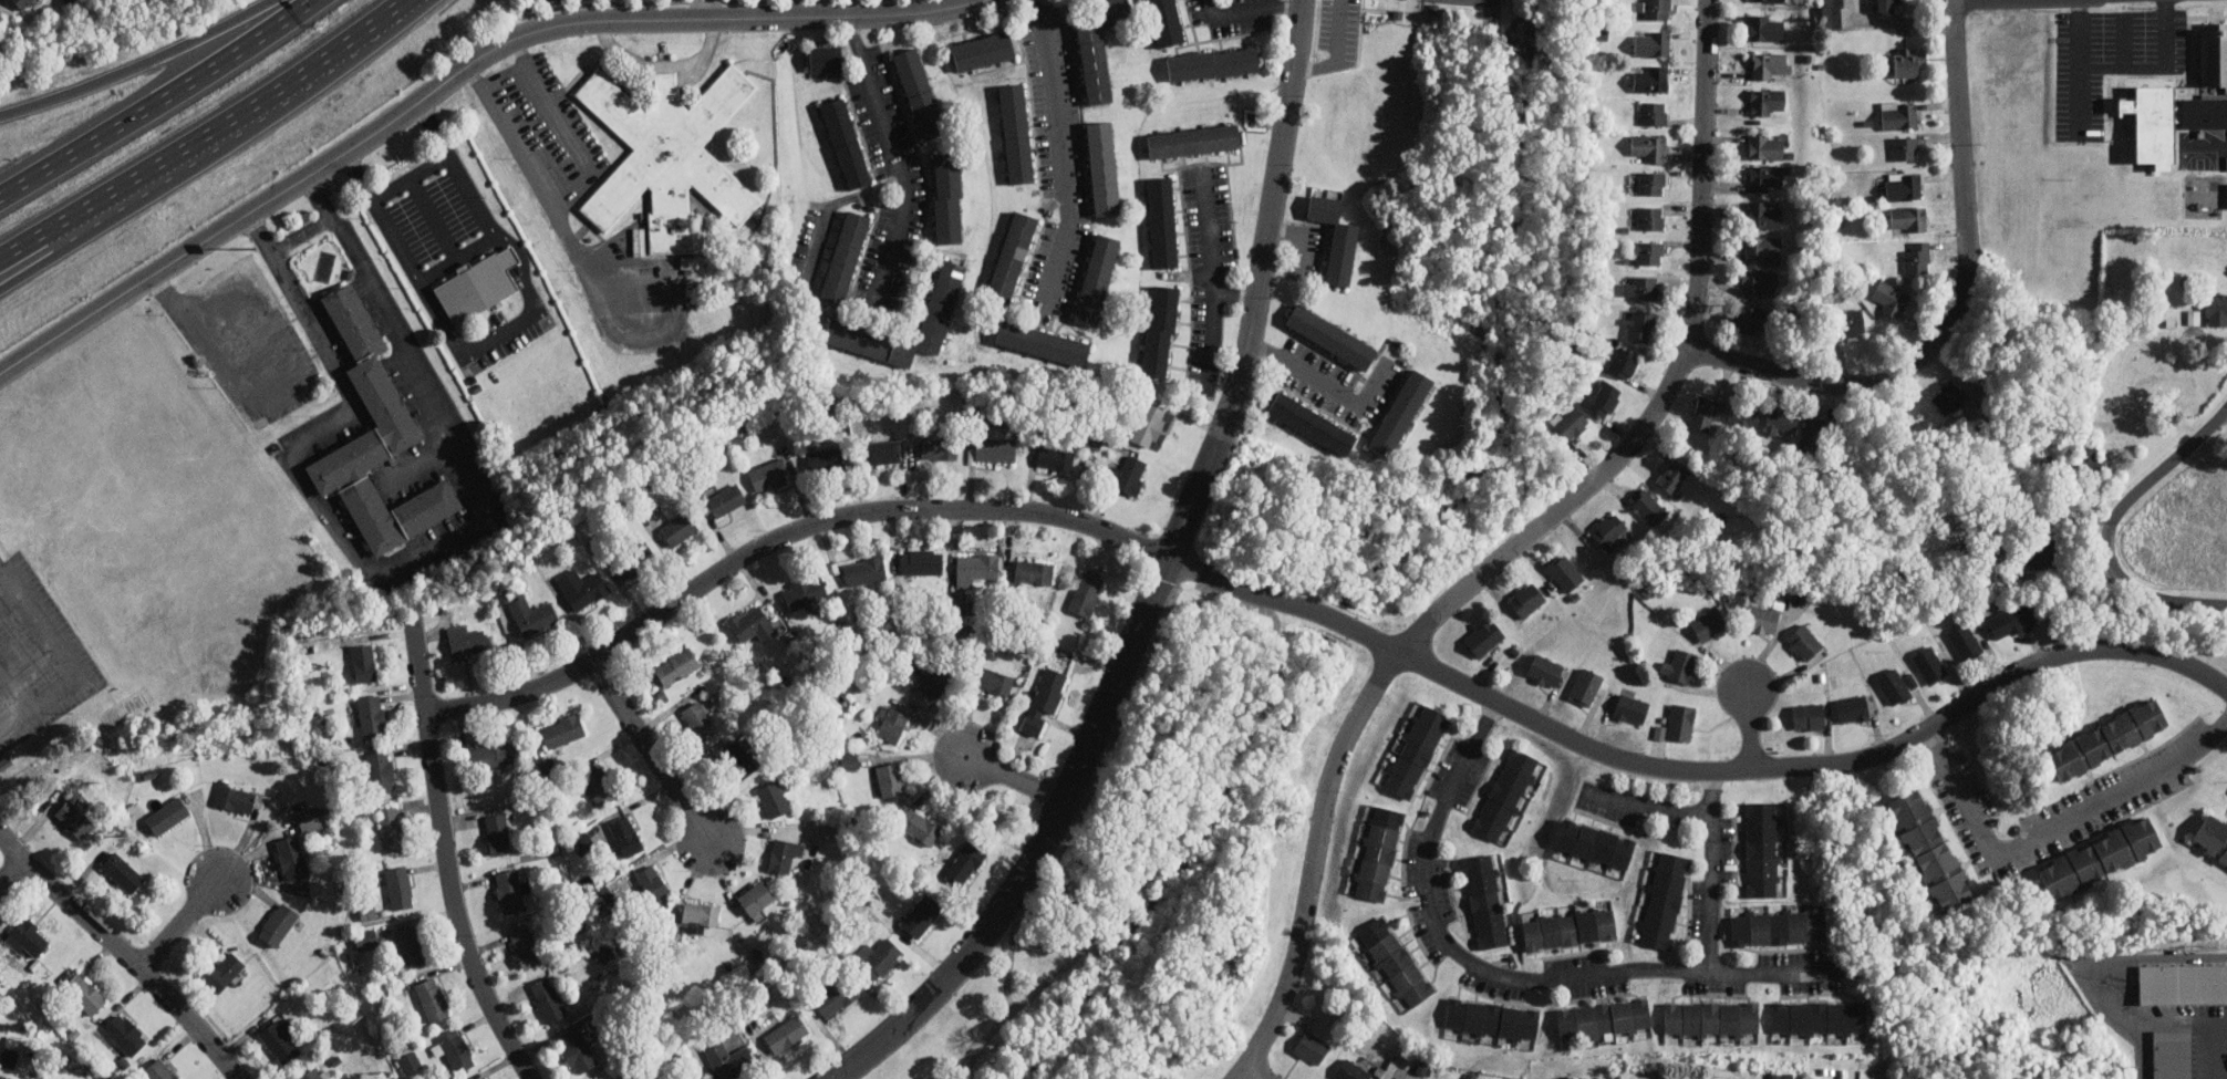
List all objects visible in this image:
building: (1768, 0)
road: (2001, 1)
building: (23, 3)
building: (1886, 6)
road: (703, 9)
road: (721, 9)
building: (1655, 9)
road: (1297, 13)
building: (1833, 13)
road: (1913, 21)
building: (1166, 22)
road: (1188, 22)
building: (1767, 27)
road: (1221, 37)
road: (1315, 37)
road: (1243, 40)
road: (2123, 40)
building: (1653, 42)
road: (1181, 43)
road: (1221, 43)
road: (1199, 44)
building: (1097, 46)
building: (983, 51)
building: (2214, 54)
building: (827, 58)
road: (660, 63)
building: (1213, 63)
building: (1904, 63)
building: (1772, 65)
road: (138, 68)
road: (2125, 68)
road: (454, 73)
road: (503, 75)
building: (1650, 77)
building: (920, 92)
road: (2081, 95)
road: (155, 98)
building: (1765, 101)
building: (1654, 112)
building: (1899, 114)
road: (227, 118)
building: (2167, 120)
building: (1016, 132)
building: (1193, 139)
building: (846, 142)
building: (1767, 145)
building: (1648, 147)
building: (1905, 147)
road: (2212, 147)
road: (1060, 149)
building: (667, 155)
road: (895, 163)
building: (1104, 167)
road: (408, 176)
building: (1765, 177)
building: (1653, 183)
building: (1904, 185)
building: (2226, 193)
building: (947, 197)
building: (1764, 215)
building: (1650, 218)
building: (1909, 218)
building: (1162, 221)
building: (1336, 238)
road: (1301, 239)
road: (23, 243)
building: (1762, 248)
building: (1647, 252)
road: (457, 257)
building: (845, 257)
building: (1012, 257)
building: (1917, 257)
road: (28, 263)
building: (1097, 279)
building: (1759, 282)
building: (479, 284)
road: (592, 286)
building: (1641, 288)
road: (1215, 291)
building: (1889, 299)
road: (1962, 308)
building: (2216, 309)
building: (2194, 315)
building: (1753, 320)
building: (1852, 321)
building: (845, 324)
building: (1639, 324)
building: (1160, 331)
building: (1332, 335)
building: (1042, 342)
building: (1622, 361)
road: (1339, 391)
building: (1948, 397)
building: (1604, 398)
building: (1401, 413)
building: (1705, 413)
building: (1743, 414)
building: (1570, 421)
building: (1780, 421)
building: (1144, 422)
building: (1312, 424)
building: (1812, 434)
building: (375, 437)
building: (939, 448)
building: (995, 449)
building: (881, 452)
building: (1056, 458)
building: (825, 459)
building: (2090, 459)
building: (769, 475)
building: (1128, 475)
building: (1672, 475)
building: (725, 499)
building: (1648, 507)
building: (680, 528)
road: (2107, 528)
building: (1609, 530)
road: (1515, 548)
building: (2042, 553)
road: (410, 559)
building: (1, 561)
building: (632, 561)
building: (921, 561)
building: (975, 566)
building: (864, 570)
building: (1034, 571)
building: (1564, 571)
road: (1158, 582)
building: (582, 587)
building: (804, 592)
building: (1086, 592)
building: (501, 594)
building: (1526, 599)
road: (1244, 602)
building: (532, 615)
road: (1325, 616)
building: (1762, 619)
building: (2006, 622)
building: (752, 623)
building: (1708, 623)
building: (1483, 637)
building: (466, 641)
building: (1965, 641)
building: (1804, 642)
road: (74, 658)
building: (362, 662)
building: (1929, 664)
building: (676, 665)
building: (1680, 665)
building: (1544, 671)
building: (931, 677)
building: (994, 681)
building: (1586, 686)
building: (1894, 686)
building: (1044, 699)
building: (1632, 708)
building: (1852, 708)
building: (372, 716)
building: (1809, 716)
building: (700, 719)
building: (1678, 723)
building: (893, 724)
road: (1750, 725)
building: (562, 730)
building: (2106, 738)
building: (1415, 750)
building: (493, 754)
road: (651, 754)
building: (850, 760)
building: (740, 761)
building: (381, 771)
building: (890, 778)
road: (1015, 778)
building: (599, 785)
park: (1210, 788)
building: (1506, 793)
building: (236, 797)
building: (774, 798)
road: (1654, 803)
building: (167, 815)
building: (75, 819)
building: (309, 819)
building: (918, 826)
road: (2055, 826)
building: (391, 829)
building: (497, 833)
building: (626, 836)
building: (2212, 838)
building: (583, 843)
building: (1595, 844)
building: (1763, 849)
building: (1929, 849)
building: (1378, 852)
road: (444, 854)
building: (784, 854)
building: (292, 857)
building: (2099, 858)
building: (965, 862)
road: (11, 871)
building: (123, 871)
road: (1712, 871)
building: (652, 882)
building: (400, 886)
building: (510, 891)
building: (756, 898)
building: (1664, 900)
building: (1487, 901)
building: (700, 915)
building: (922, 915)
road: (179, 923)
building: (279, 924)
building: (1778, 926)
building: (1570, 927)
building: (28, 936)
building: (366, 938)
building: (525, 945)
building: (410, 946)
road: (124, 951)
building: (604, 952)
building: (878, 957)
building: (1396, 962)
road: (2119, 966)
building: (224, 972)
road: (1499, 974)
building: (2184, 983)
building: (84, 993)
building: (432, 998)
building: (836, 998)
building: (548, 999)
building: (1711, 1018)
building: (1819, 1018)
building: (1492, 1019)
building: (1604, 1019)
road: (2183, 1024)
building: (126, 1033)
building: (787, 1035)
building: (281, 1038)
road: (984, 1046)
building: (1312, 1047)
building: (454, 1049)
building: (577, 1050)
road: (2210, 1051)
building: (10, 1052)
building: (2174, 1056)
building: (728, 1059)
building: (410, 1060)
building: (159, 1069)
building: (1351, 1070)
building: (313, 1073)
road: (1253, 1073)
building: (11, 1077)
building: (687, 1077)
building: (484, 1078)
building: (485, 1078)
building: (602, 1078)

